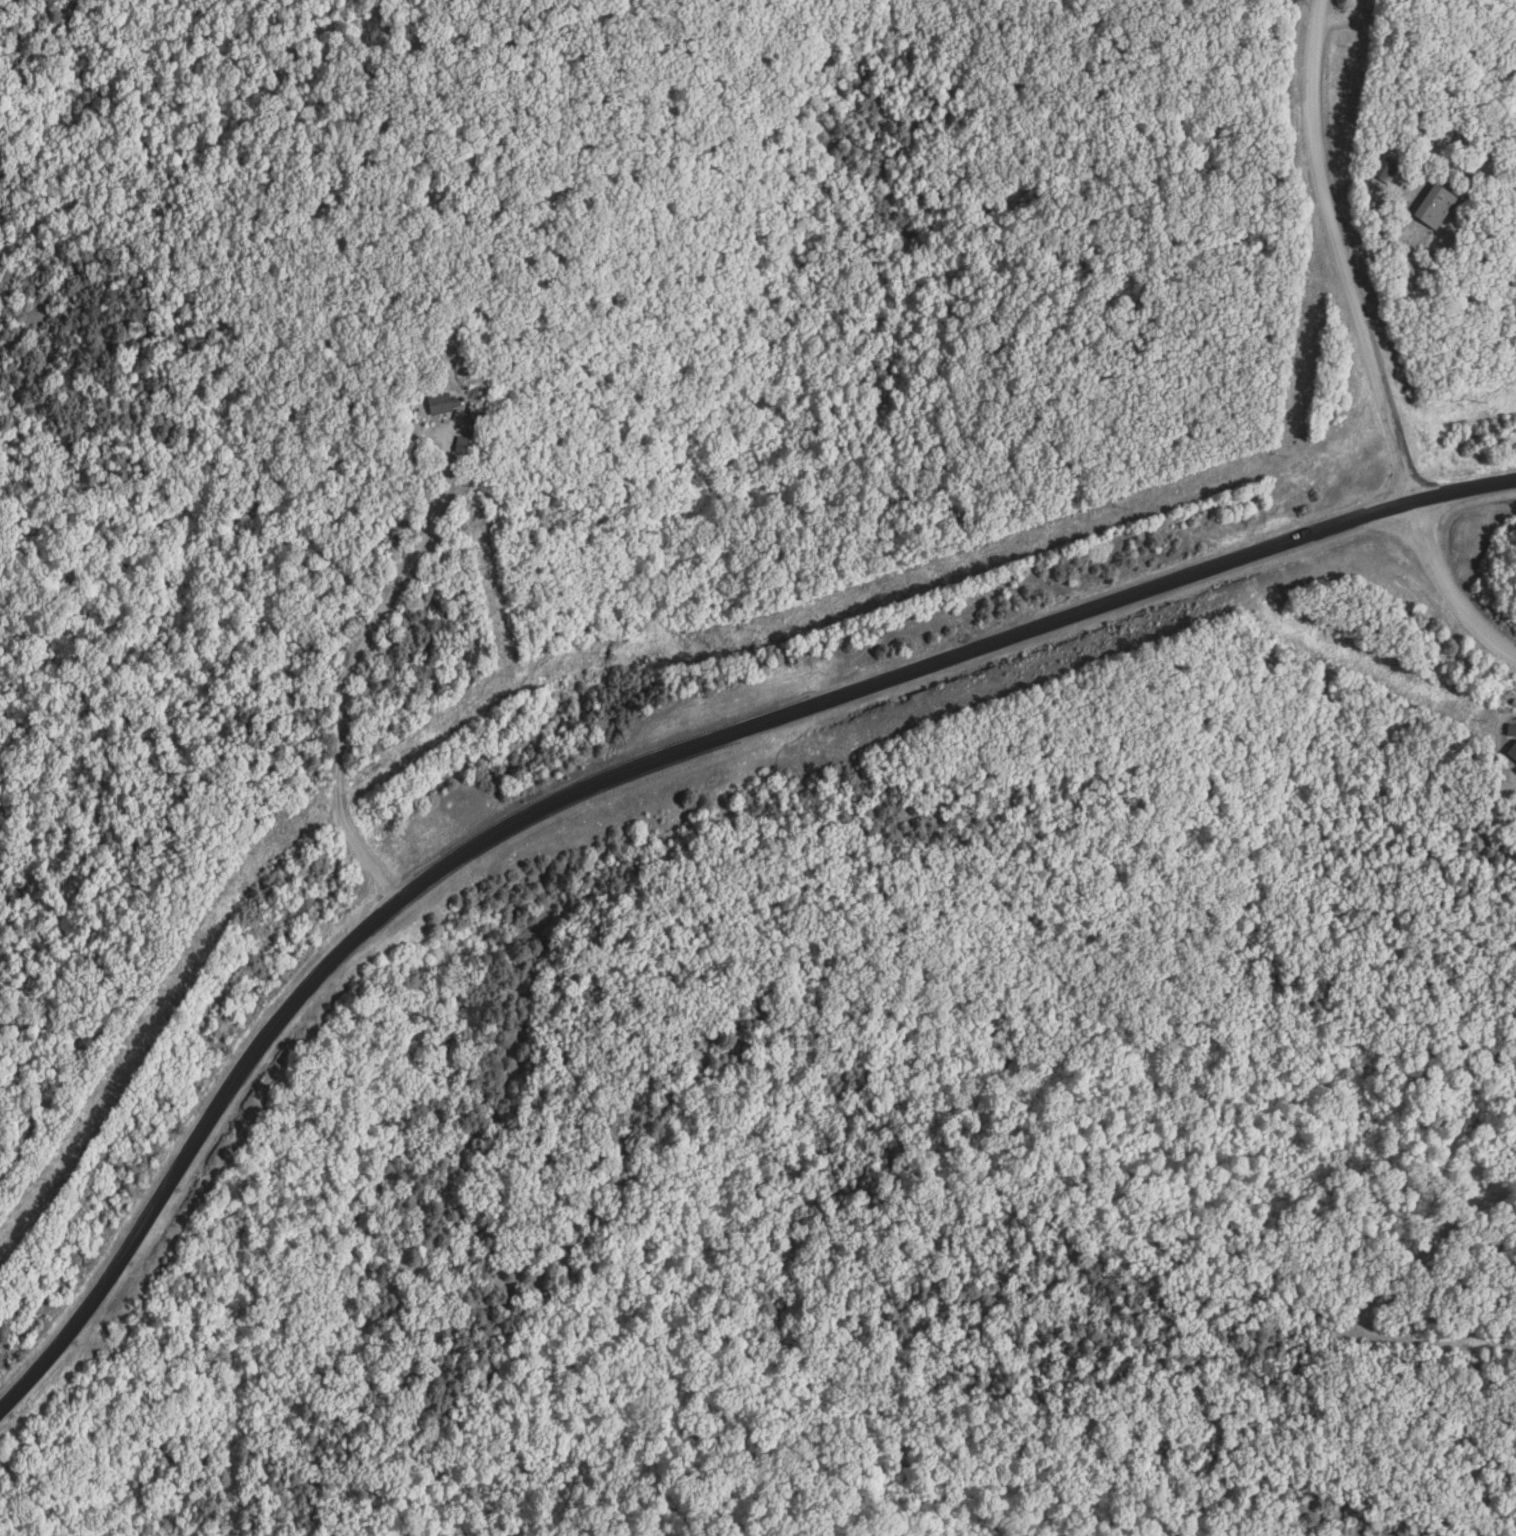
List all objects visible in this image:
building: (1388, 169)
building: (1439, 207)
road: (1368, 343)
building: (443, 405)
road: (639, 767)

